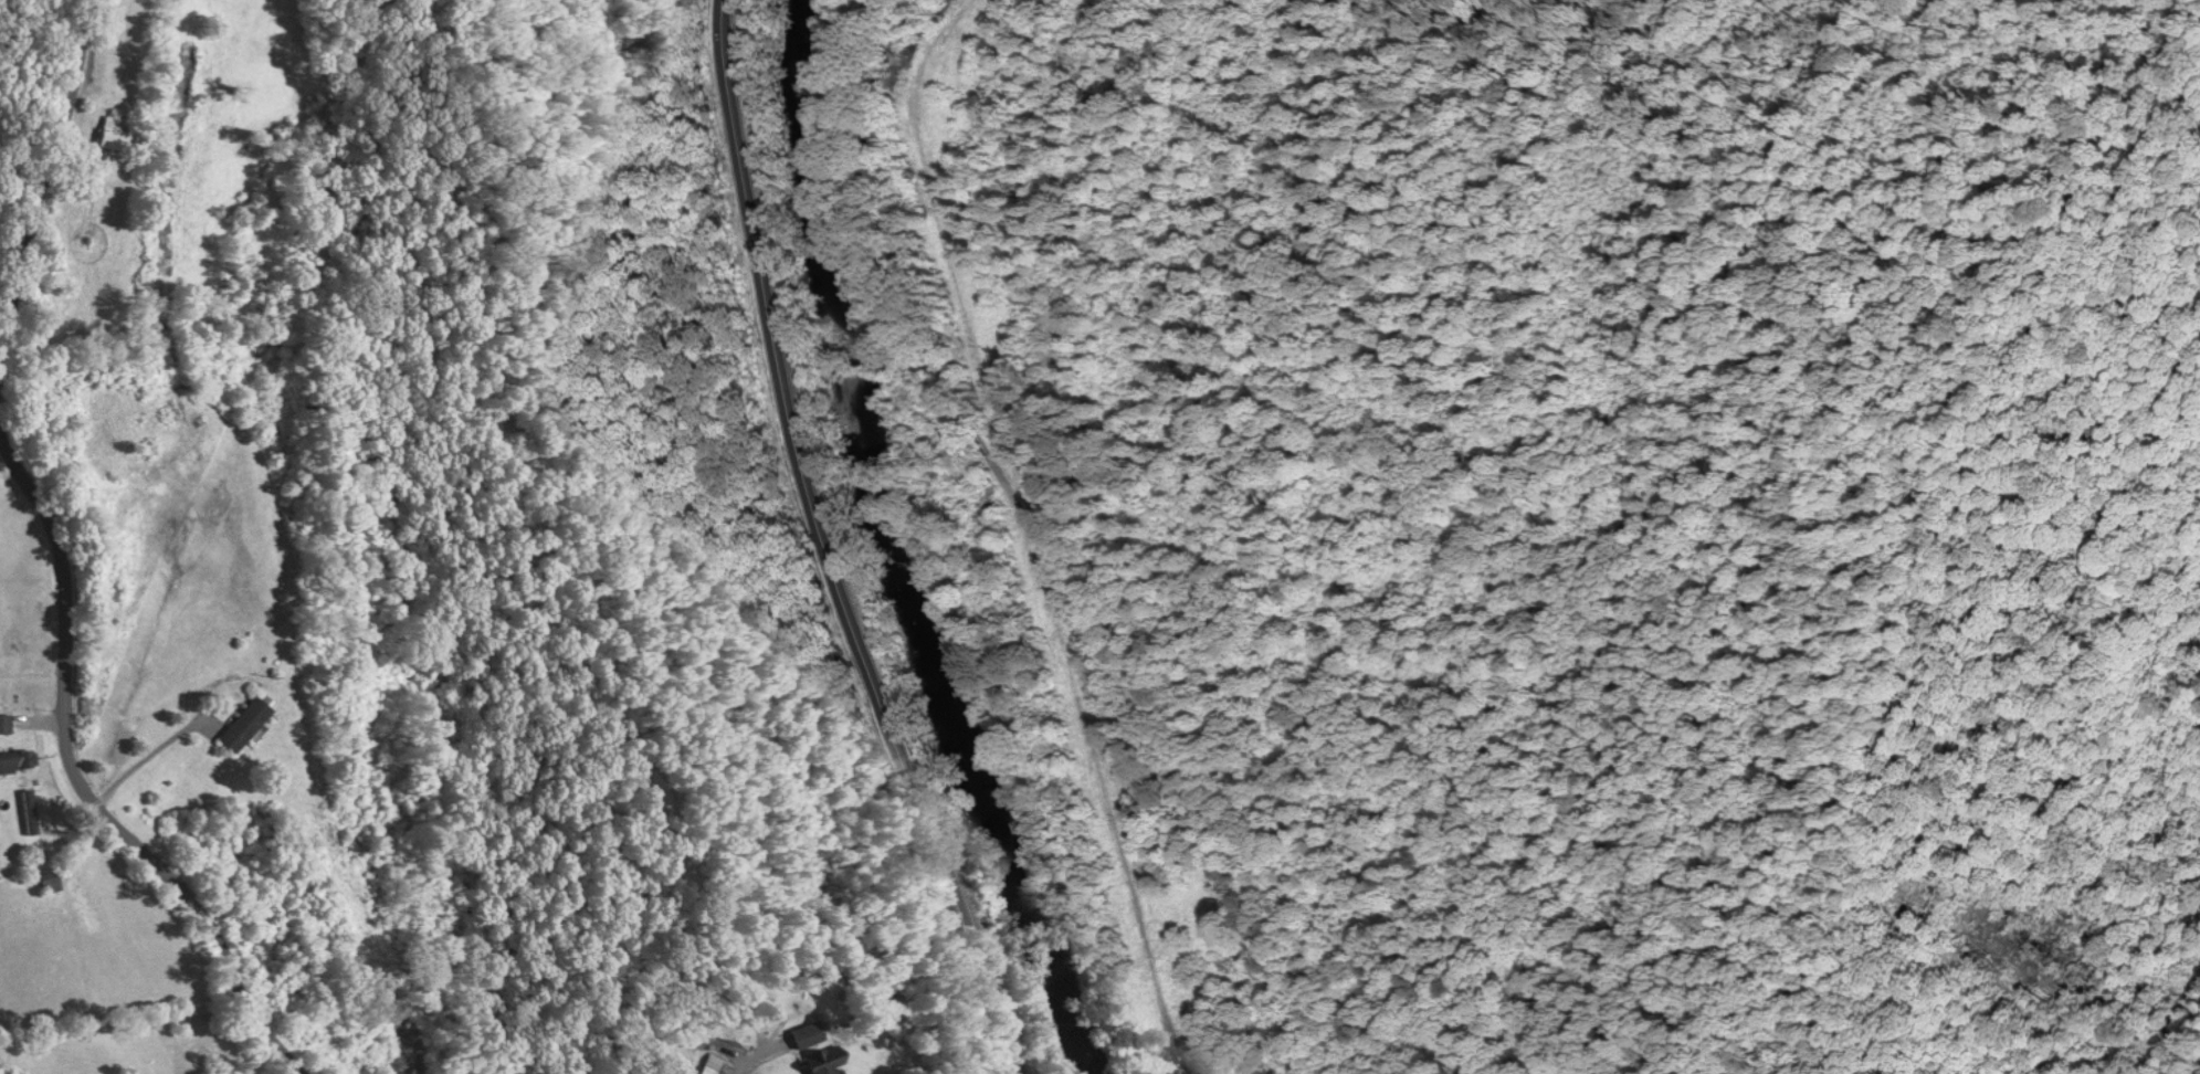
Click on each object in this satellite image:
building: (117, 138)
road: (45, 168)
road: (1040, 443)
road: (823, 546)
river: (903, 546)
building: (4, 725)
building: (245, 726)
building: (15, 762)
road: (78, 788)
building: (29, 814)
building: (49, 884)
building: (812, 1036)
road: (761, 1056)
building: (833, 1061)
building: (710, 1065)

